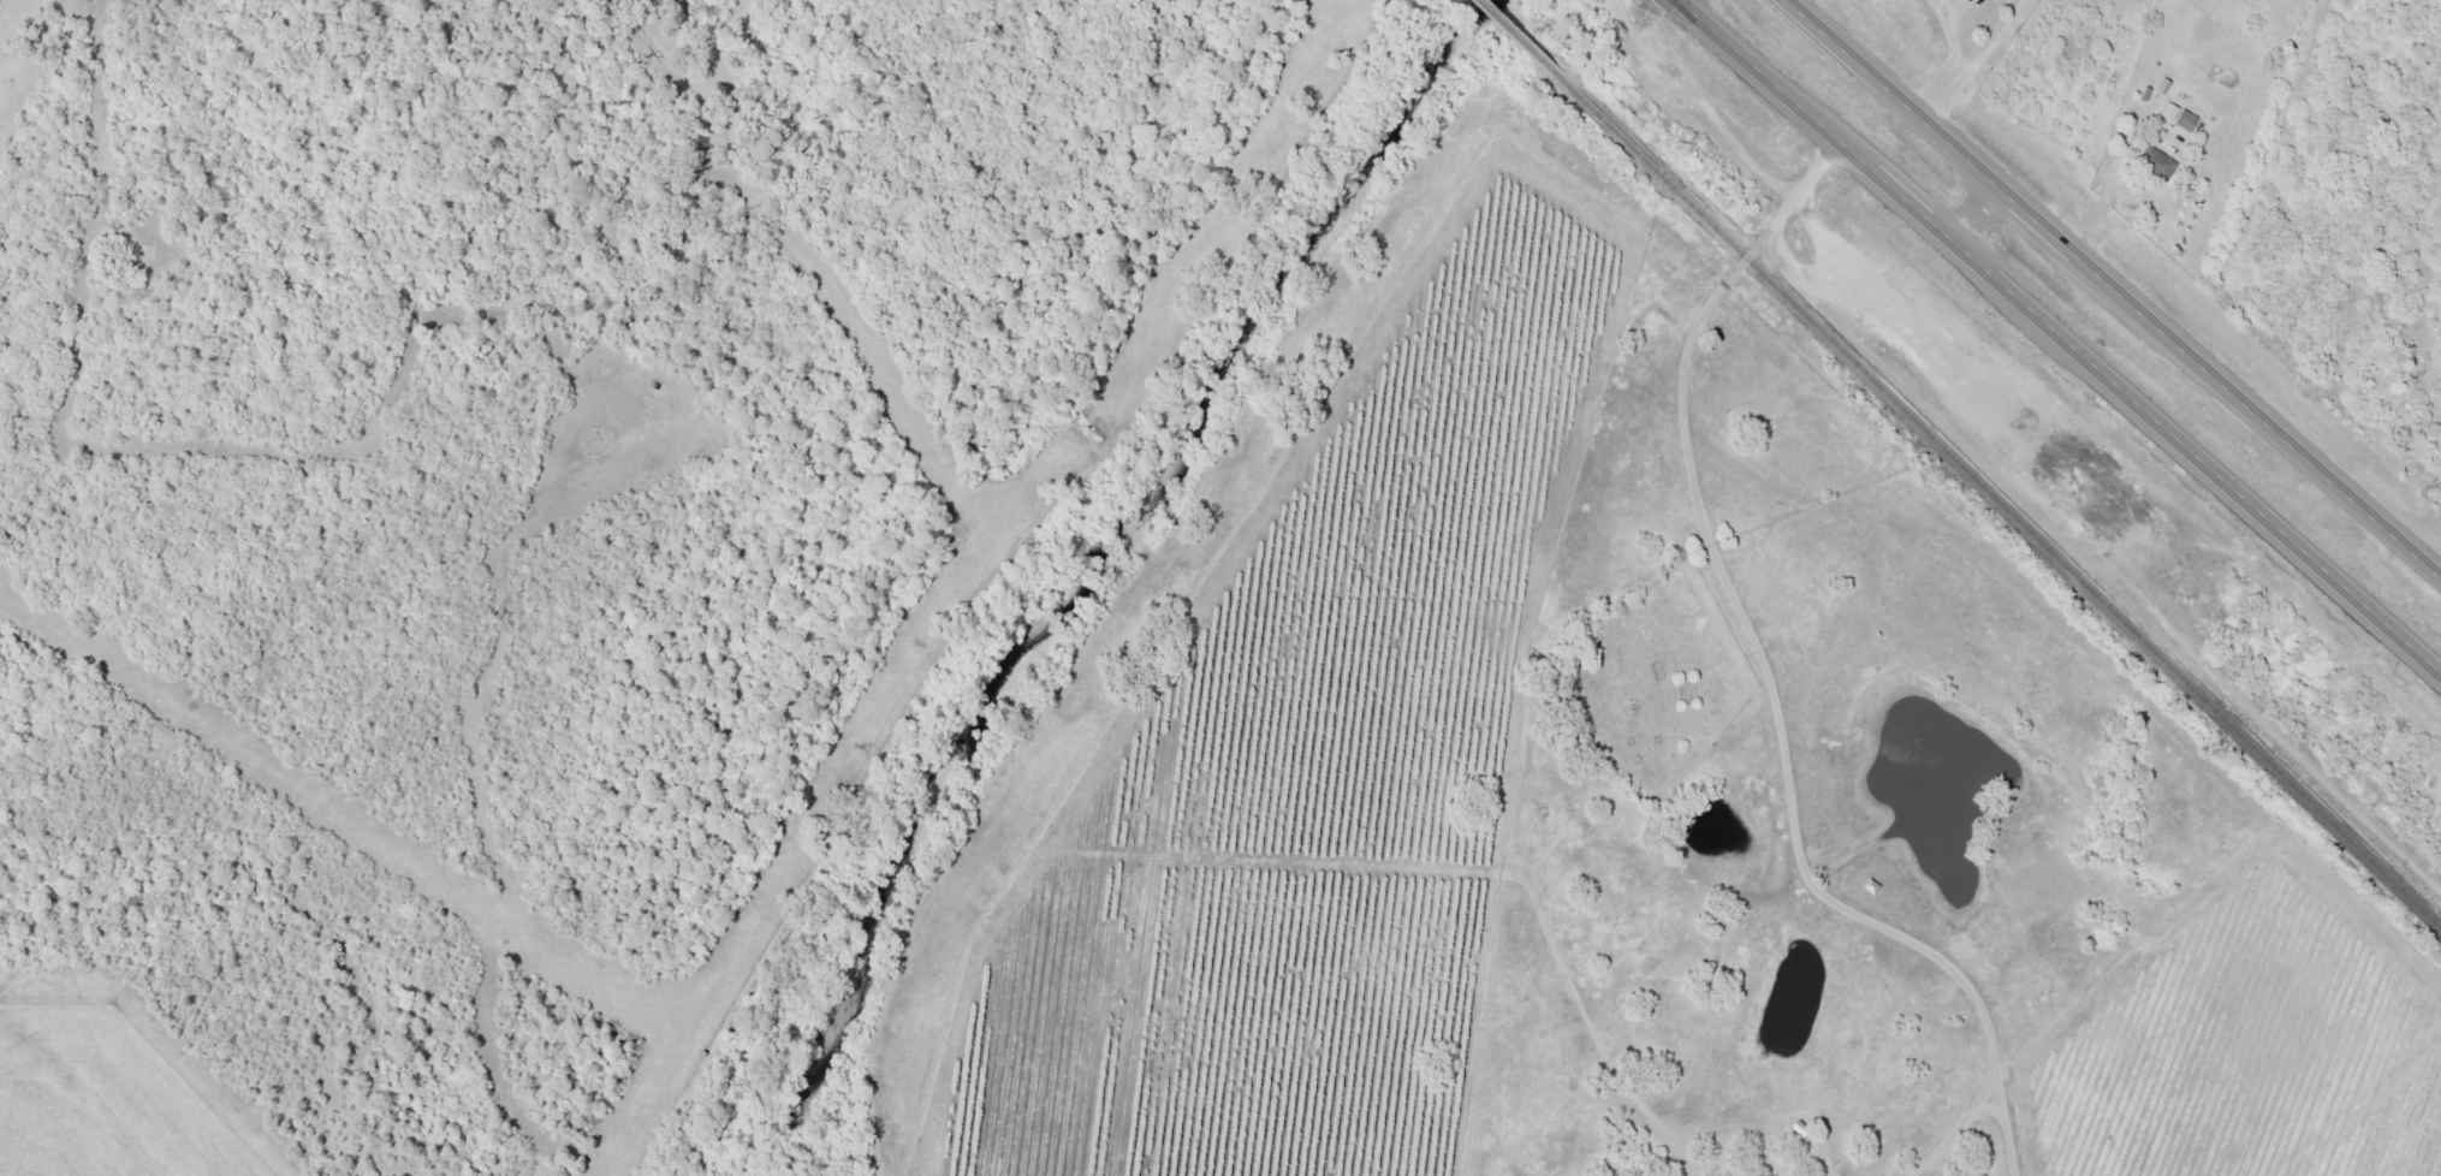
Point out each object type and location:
road: (1674, 2)
railway: (1511, 37)
road: (1962, 60)
building: (2168, 111)
building: (2156, 162)
road: (1972, 215)
road: (2113, 289)
road: (2057, 339)
road: (588, 356)
railway: (1996, 501)
road: (1754, 664)
park: (1659, 679)

